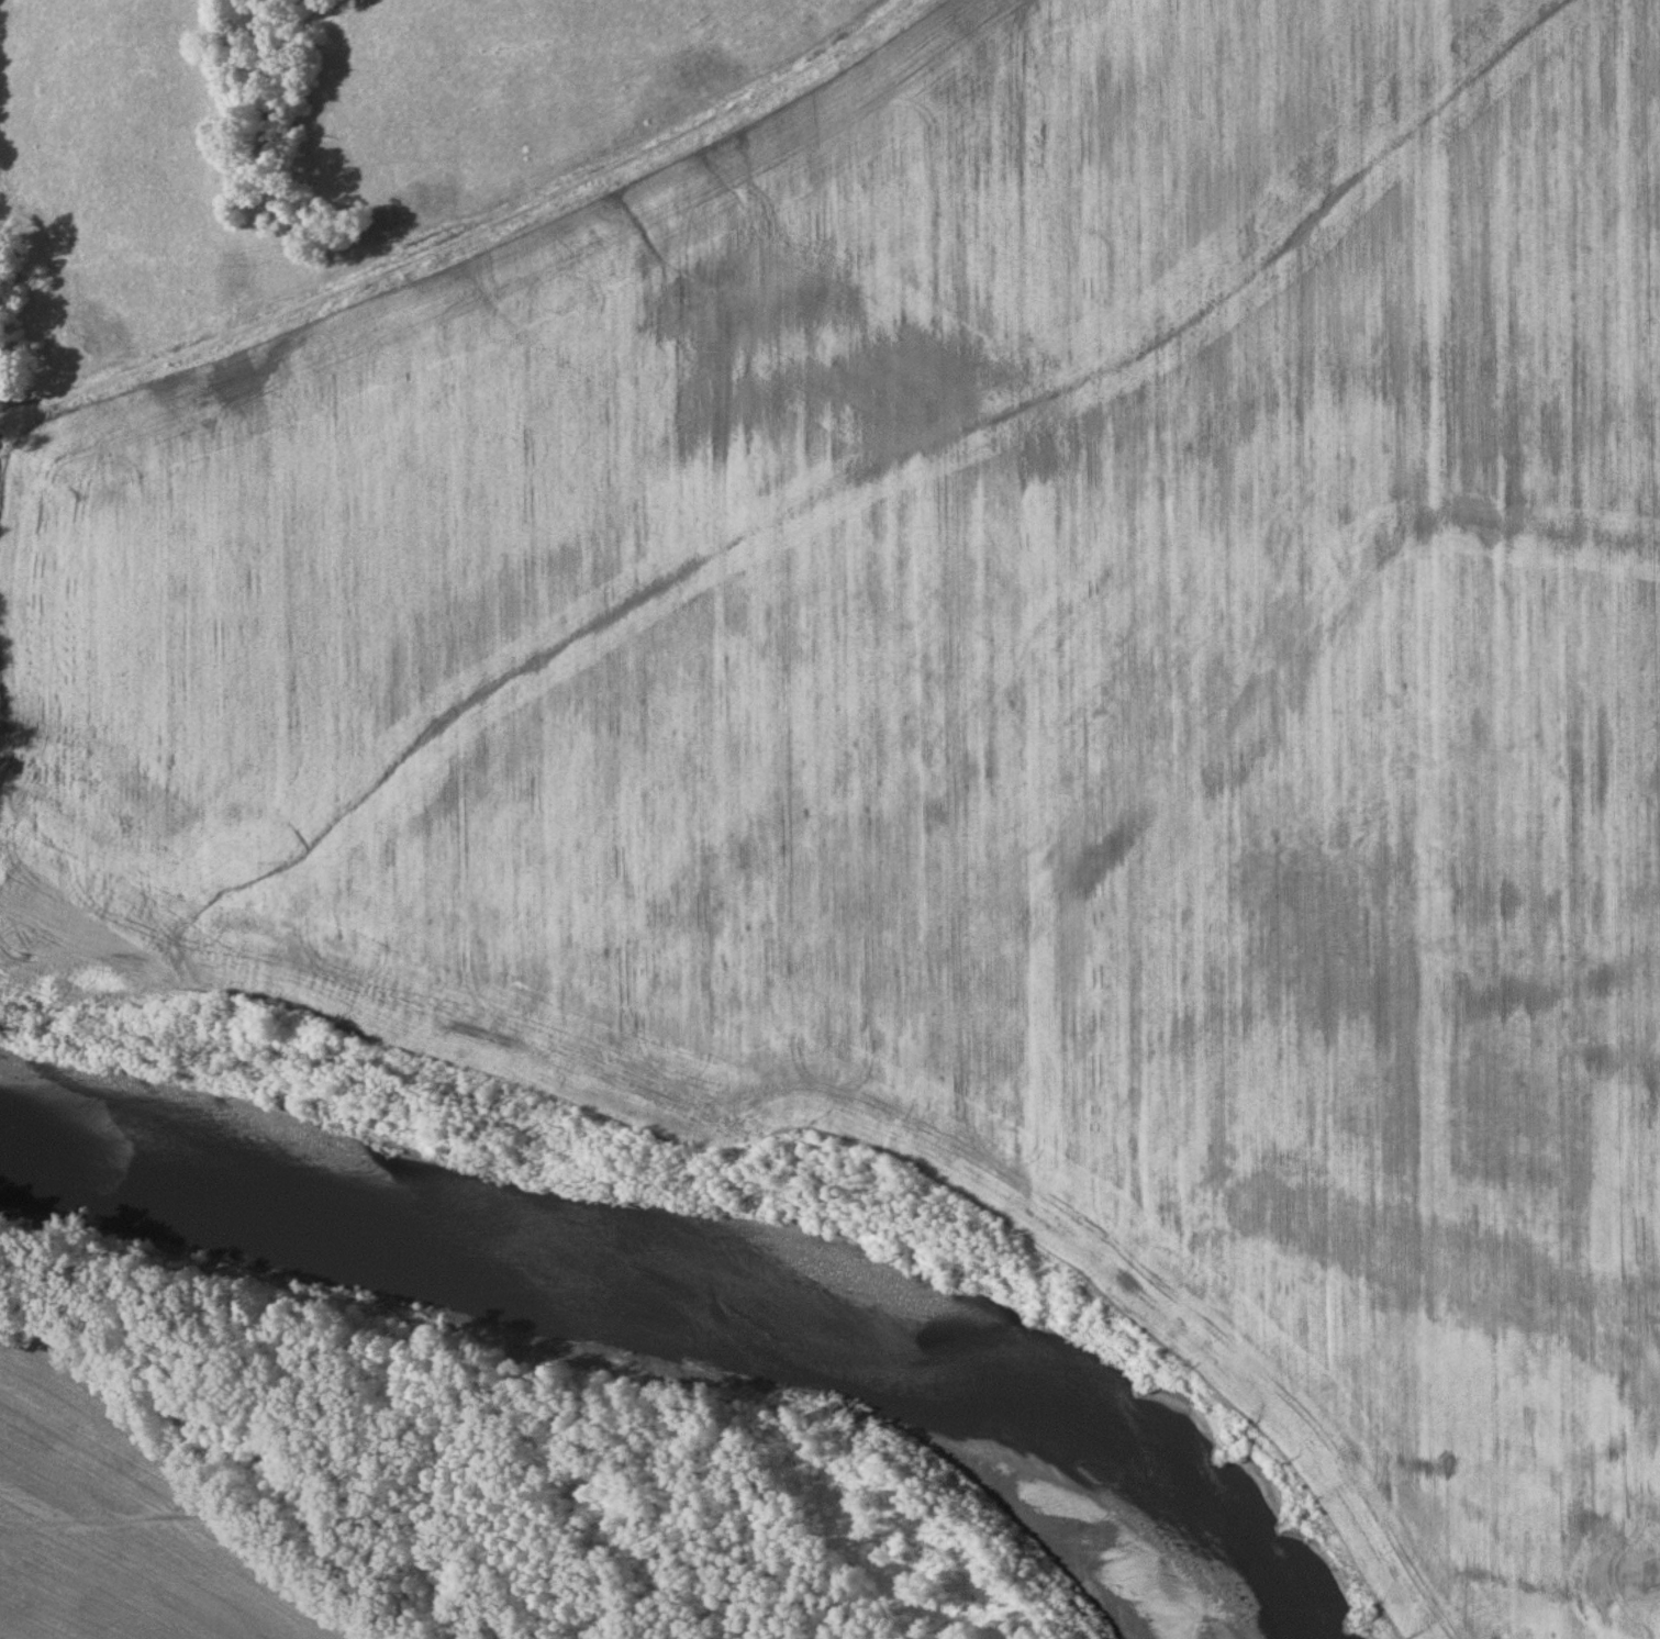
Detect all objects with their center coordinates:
river: (717, 1308)
park: (434, 1470)
crop: (116, 1539)

